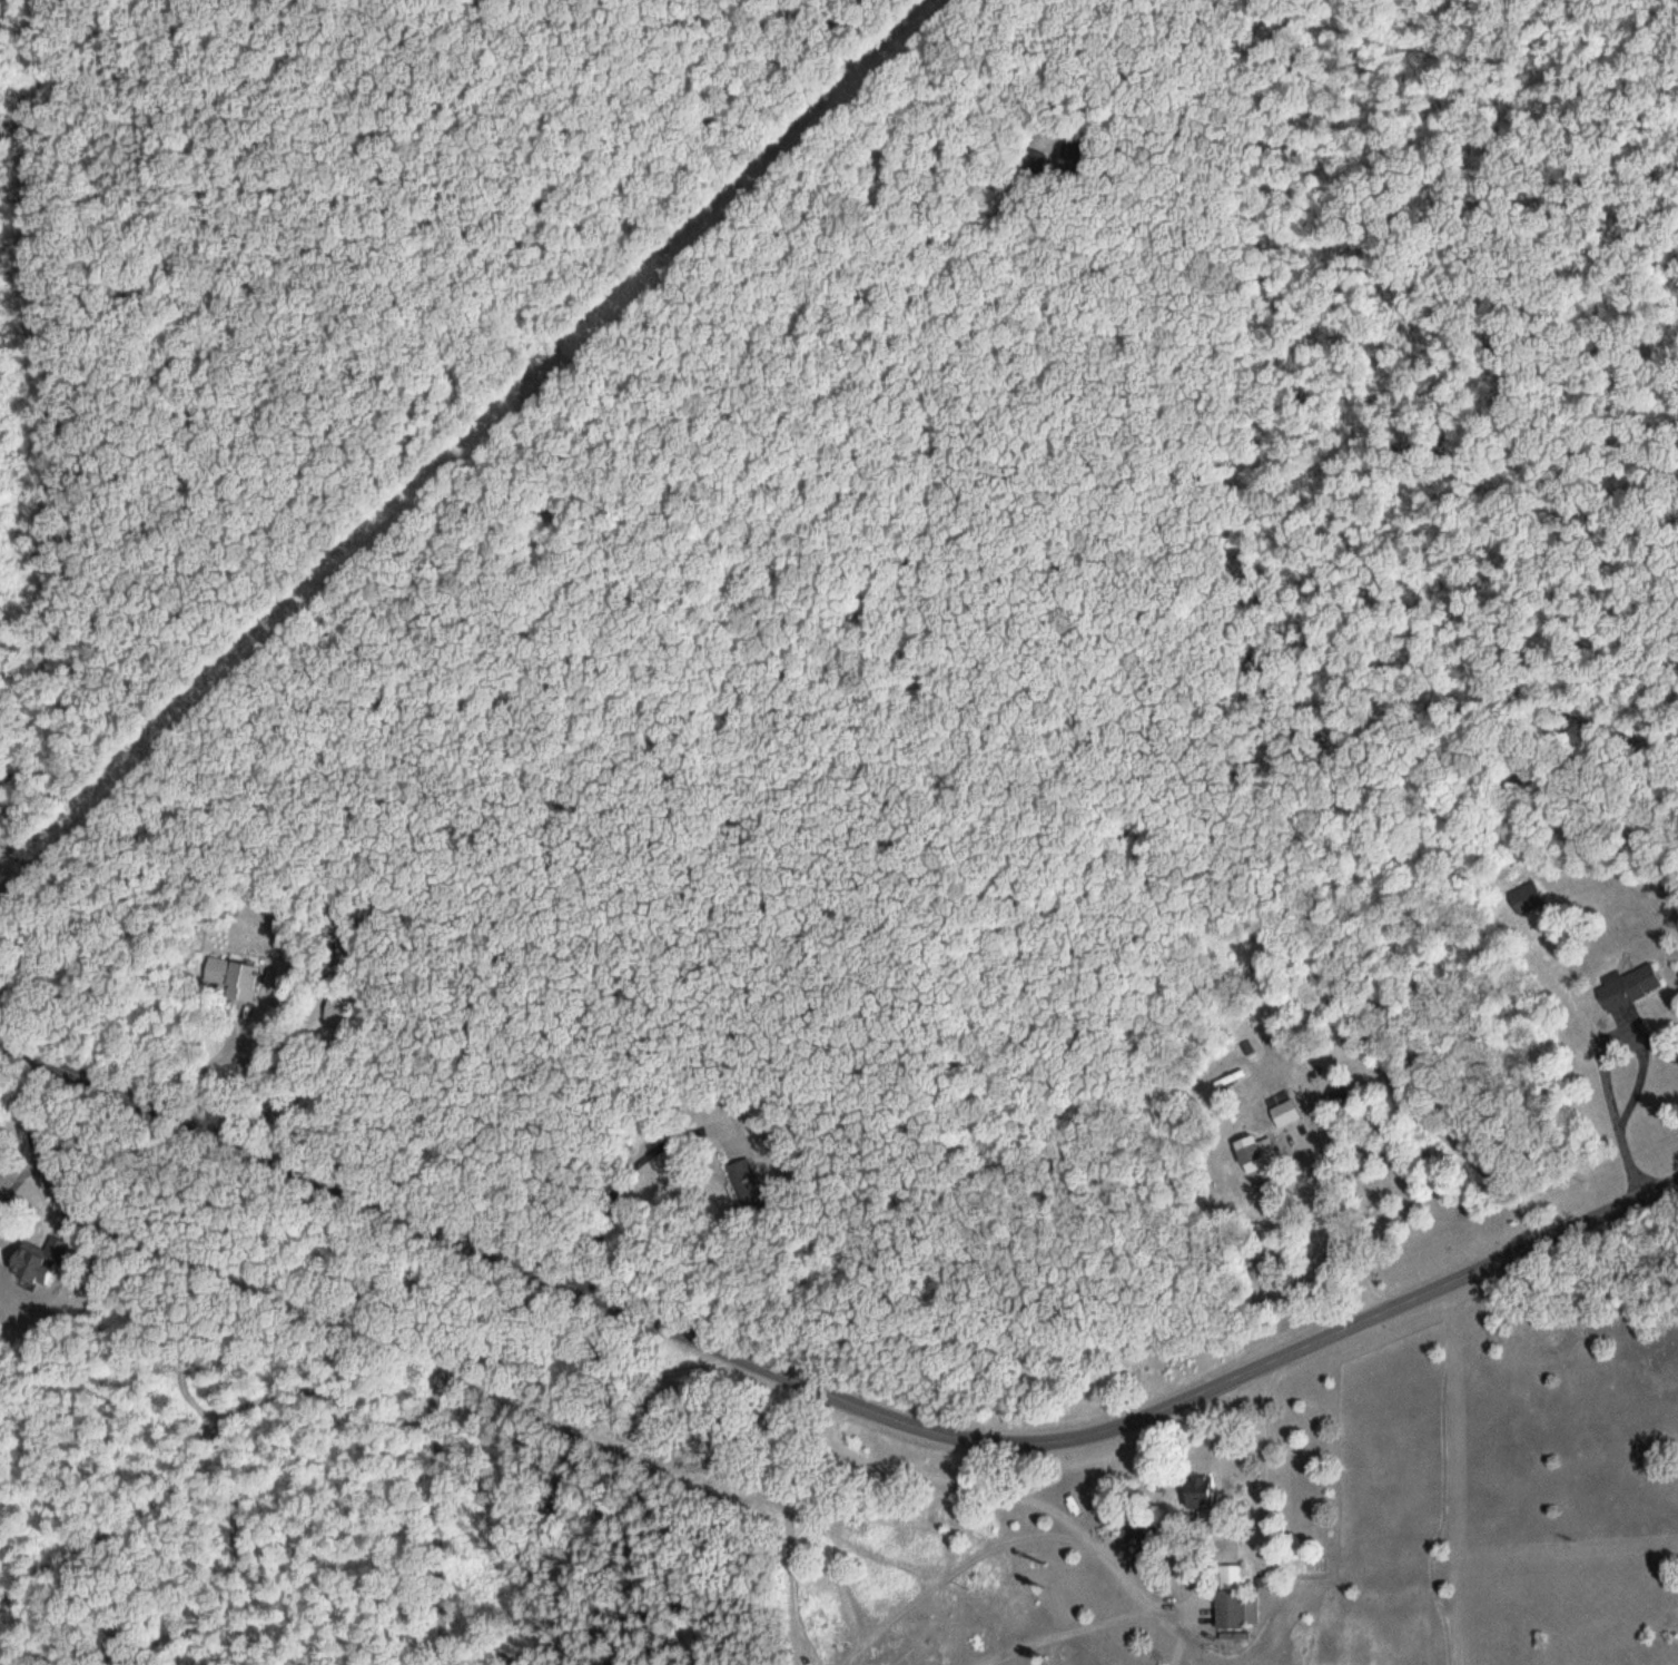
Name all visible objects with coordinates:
building: (1530, 897)
building: (1633, 986)
building: (1341, 1097)
building: (1286, 1109)
building: (1258, 1154)
building: (38, 1263)
road: (831, 1393)
building: (1203, 1489)
road: (1252, 1521)
building: (1141, 1529)
building: (1237, 1599)

